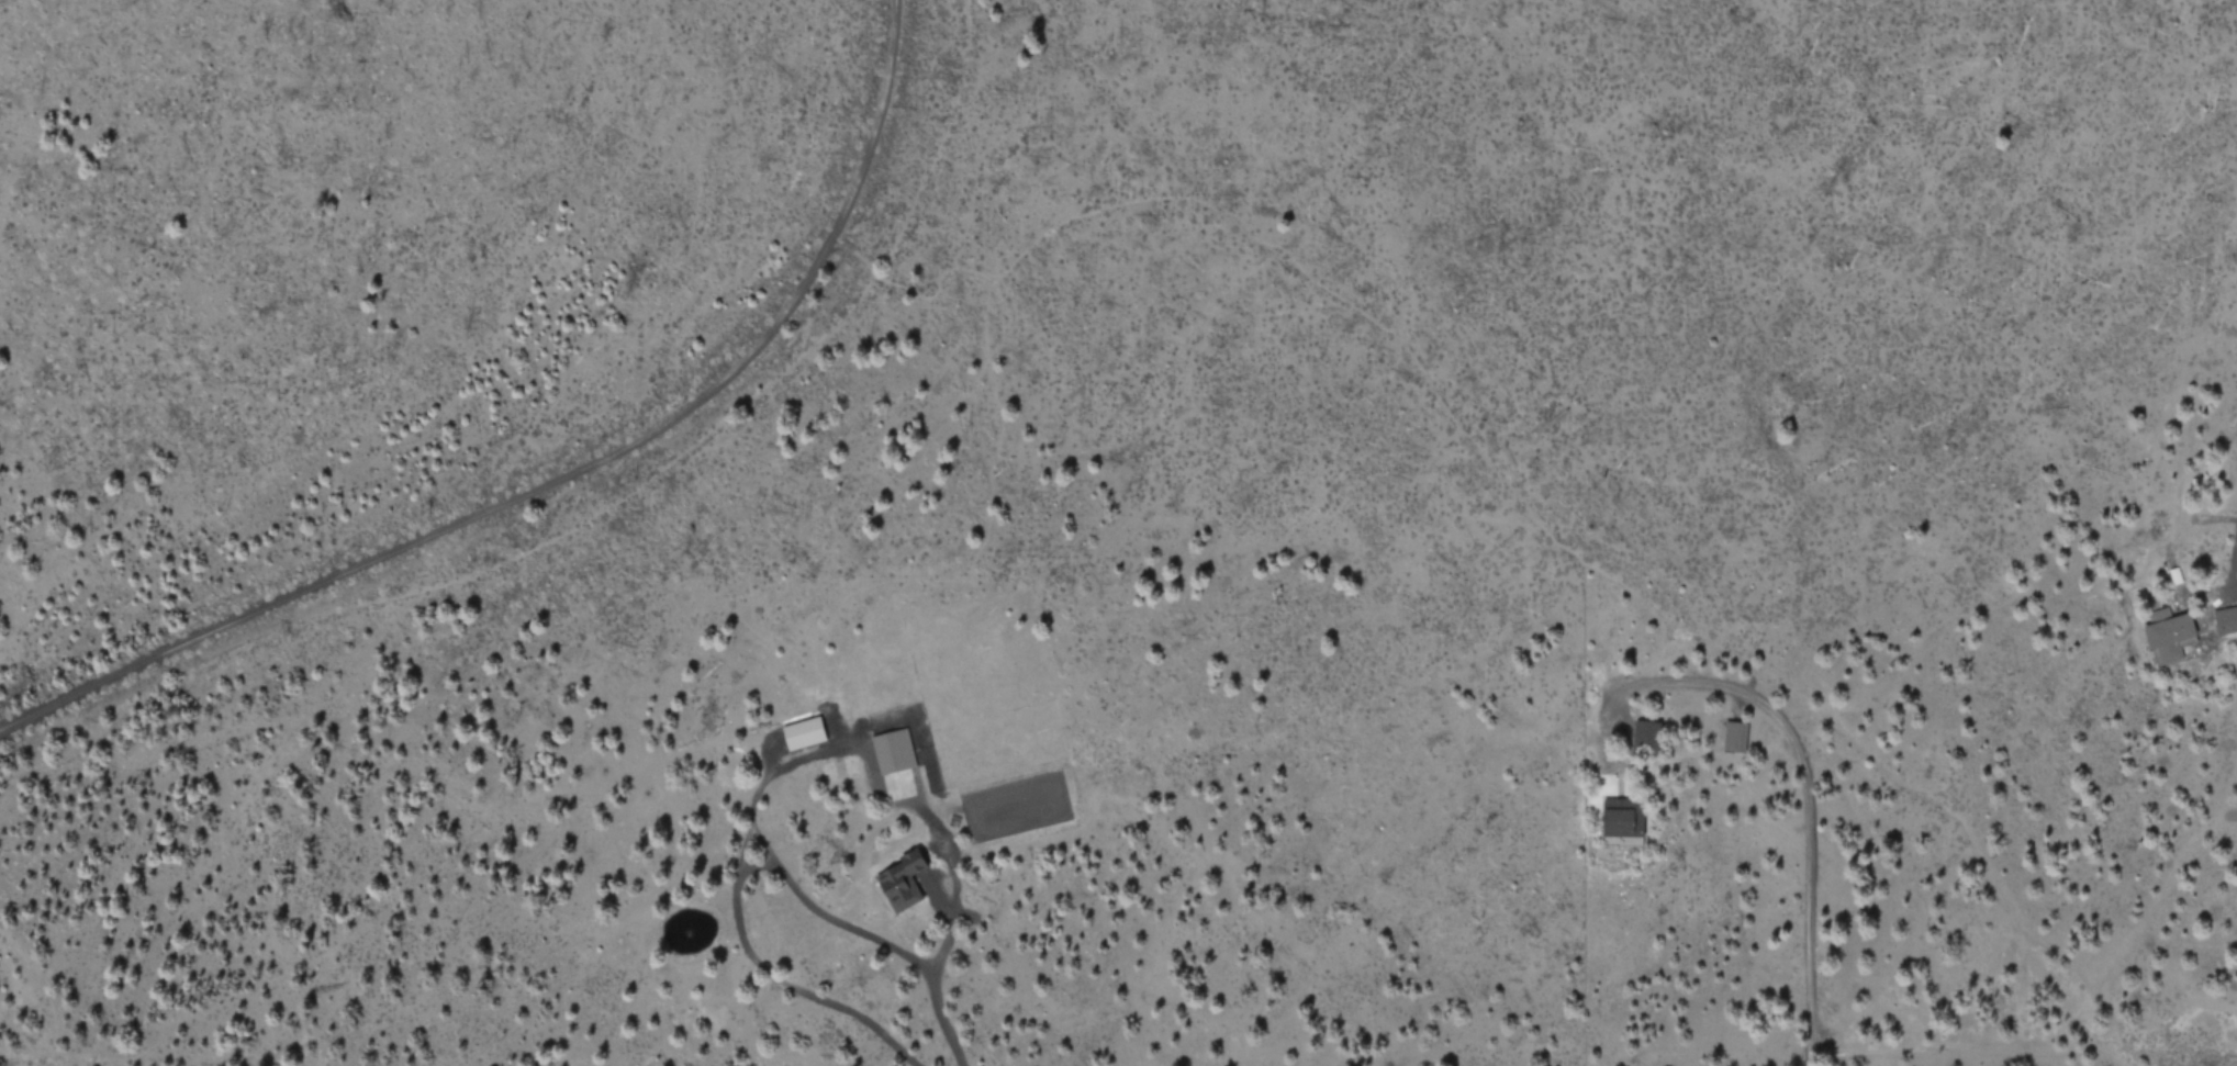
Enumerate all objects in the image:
road: (560, 479)
building: (2225, 619)
building: (2170, 636)
building: (802, 731)
building: (1644, 732)
building: (1733, 736)
building: (892, 749)
road: (1801, 805)
building: (1621, 817)
building: (901, 879)

